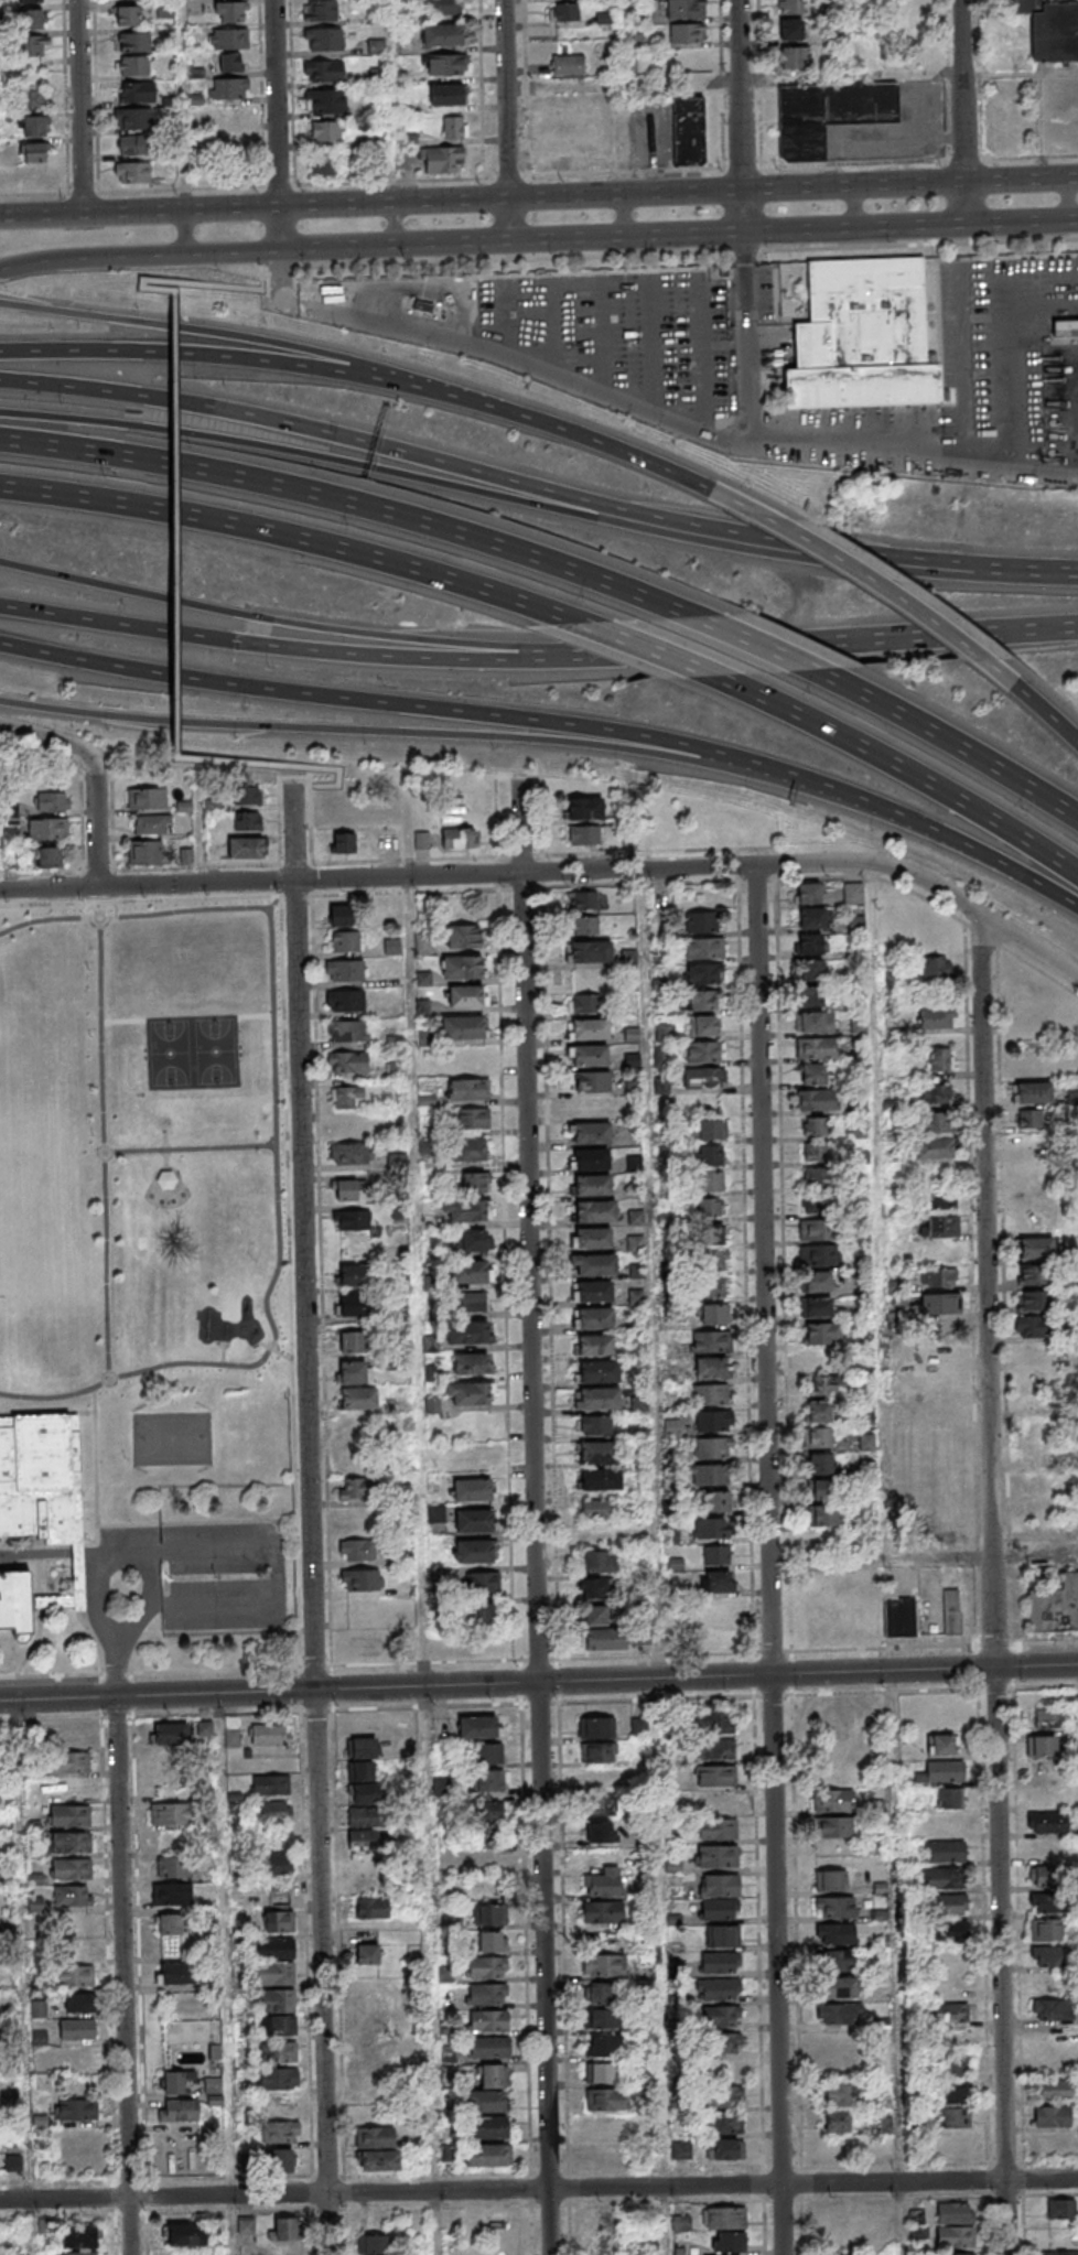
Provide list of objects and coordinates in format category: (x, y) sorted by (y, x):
building: (29, 1)
building: (444, 7)
building: (790, 7)
building: (683, 9)
building: (164, 10)
building: (320, 10)
building: (229, 11)
building: (563, 12)
building: (127, 15)
building: (32, 19)
building: (791, 30)
building: (1050, 33)
building: (687, 34)
building: (442, 35)
building: (228, 39)
building: (323, 39)
road: (856, 39)
building: (133, 41)
road: (625, 42)
building: (32, 46)
building: (376, 46)
building: (794, 57)
building: (229, 62)
building: (133, 65)
building: (568, 65)
building: (444, 66)
building: (322, 69)
road: (983, 79)
road: (948, 80)
road: (735, 82)
building: (228, 88)
road: (527, 88)
road: (483, 89)
building: (136, 91)
road: (741, 95)
building: (445, 96)
road: (507, 98)
building: (32, 99)
building: (325, 100)
road: (391, 101)
road: (277, 102)
road: (182, 105)
road: (82, 107)
road: (964, 111)
building: (830, 114)
building: (229, 117)
building: (132, 118)
building: (33, 126)
building: (454, 127)
building: (325, 131)
building: (688, 131)
building: (132, 144)
building: (230, 148)
building: (33, 152)
road: (1032, 158)
building: (442, 159)
road: (967, 160)
building: (322, 165)
building: (131, 172)
building: (29, 177)
road: (265, 186)
road: (794, 188)
road: (1069, 198)
road: (297, 206)
road: (856, 206)
road: (745, 211)
road: (42, 215)
road: (625, 215)
road: (509, 219)
road: (396, 223)
road: (912, 224)
road: (281, 227)
road: (185, 233)
road: (373, 244)
road: (202, 283)
building: (420, 306)
building: (1065, 327)
road: (748, 331)
road: (215, 333)
building: (863, 337)
road: (214, 354)
road: (500, 354)
road: (961, 430)
road: (603, 443)
road: (487, 471)
road: (487, 493)
road: (352, 500)
road: (174, 524)
road: (298, 536)
road: (1026, 572)
road: (926, 615)
road: (284, 619)
road: (826, 640)
road: (285, 645)
road: (765, 649)
road: (664, 652)
road: (554, 721)
road: (381, 730)
road: (1072, 733)
road: (47, 738)
road: (961, 747)
road: (287, 767)
road: (912, 772)
road: (82, 794)
building: (248, 795)
building: (145, 798)
building: (52, 801)
building: (584, 808)
road: (98, 819)
building: (247, 821)
building: (151, 823)
building: (46, 828)
building: (582, 834)
building: (460, 837)
building: (421, 839)
building: (342, 842)
building: (245, 848)
building: (143, 852)
building: (48, 856)
building: (12, 859)
road: (554, 871)
road: (42, 874)
road: (739, 882)
building: (808, 893)
building: (853, 894)
road: (141, 899)
building: (584, 900)
road: (273, 902)
building: (339, 915)
building: (812, 917)
road: (40, 921)
building: (701, 921)
building: (584, 925)
building: (856, 925)
building: (462, 937)
building: (343, 941)
building: (423, 942)
building: (810, 943)
building: (391, 947)
building: (705, 950)
building: (589, 952)
building: (937, 967)
building: (463, 968)
building: (345, 970)
building: (811, 970)
building: (705, 975)
building: (466, 996)
building: (810, 996)
building: (345, 1001)
building: (704, 1001)
building: (585, 1004)
building: (937, 1016)
road: (186, 1017)
building: (813, 1021)
building: (702, 1027)
building: (464, 1029)
building: (346, 1031)
building: (591, 1032)
building: (630, 1036)
building: (816, 1047)
park: (191, 1050)
building: (702, 1053)
building: (591, 1057)
building: (940, 1059)
building: (632, 1060)
building: (346, 1061)
building: (1033, 1066)
building: (812, 1073)
building: (704, 1079)
building: (593, 1083)
building: (661, 1087)
building: (470, 1091)
building: (1032, 1092)
building: (937, 1093)
building: (345, 1096)
building: (816, 1100)
building: (594, 1110)
building: (472, 1118)
building: (1030, 1119)
building: (934, 1122)
building: (815, 1126)
building: (352, 1129)
building: (710, 1129)
building: (592, 1135)
road: (163, 1141)
building: (1030, 1144)
road: (103, 1147)
road: (188, 1147)
building: (934, 1150)
building: (816, 1151)
building: (464, 1152)
park: (141, 1153)
building: (348, 1153)
building: (710, 1155)
park: (36, 1162)
building: (592, 1162)
road: (175, 1170)
building: (815, 1177)
building: (165, 1178)
building: (711, 1180)
building: (475, 1182)
building: (343, 1188)
building: (594, 1188)
road: (278, 1196)
building: (941, 1199)
building: (816, 1202)
building: (707, 1207)
building: (466, 1209)
road: (877, 1211)
building: (596, 1215)
building: (351, 1219)
building: (940, 1226)
building: (816, 1229)
building: (710, 1233)
road: (303, 1238)
building: (472, 1240)
building: (593, 1241)
building: (635, 1244)
building: (1036, 1248)
building: (819, 1255)
building: (715, 1261)
building: (597, 1269)
building: (471, 1271)
building: (636, 1271)
road: (651, 1273)
building: (353, 1275)
building: (1033, 1275)
building: (938, 1277)
road: (419, 1281)
building: (817, 1282)
road: (289, 1285)
building: (712, 1287)
building: (595, 1295)
building: (635, 1297)
building: (1034, 1301)
building: (470, 1302)
building: (947, 1303)
building: (353, 1305)
building: (817, 1308)
building: (712, 1314)
building: (596, 1321)
building: (1034, 1327)
building: (467, 1332)
building: (821, 1335)
building: (352, 1341)
building: (711, 1342)
building: (595, 1348)
road: (274, 1349)
road: (222, 1352)
building: (817, 1361)
building: (472, 1363)
building: (711, 1369)
building: (354, 1371)
building: (600, 1375)
building: (826, 1387)
building: (470, 1393)
building: (710, 1395)
building: (358, 1399)
building: (601, 1402)
building: (818, 1413)
road: (46, 1414)
building: (865, 1417)
building: (714, 1422)
building: (594, 1425)
building: (1035, 1433)
park: (170, 1437)
building: (817, 1438)
building: (866, 1443)
building: (713, 1449)
building: (600, 1456)
building: (819, 1465)
building: (711, 1476)
building: (1041, 1481)
building: (601, 1482)
building: (357, 1488)
building: (474, 1489)
building: (821, 1490)
road: (87, 1502)
building: (716, 1502)
building: (37, 1508)
building: (597, 1512)
road: (96, 1514)
building: (436, 1514)
building: (822, 1515)
road: (537, 1517)
building: (472, 1520)
road: (195, 1521)
building: (712, 1529)
building: (357, 1550)
building: (474, 1551)
road: (57, 1552)
road: (129, 1552)
building: (718, 1555)
road: (772, 1560)
road: (881, 1561)
building: (596, 1562)
road: (272, 1566)
building: (362, 1579)
building: (716, 1580)
building: (482, 1582)
road: (991, 1585)
building: (593, 1588)
building: (1055, 1606)
building: (716, 1607)
road: (37, 1610)
road: (84, 1610)
building: (952, 1611)
building: (482, 1614)
building: (595, 1616)
building: (899, 1617)
road: (214, 1630)
building: (603, 1639)
road: (935, 1648)
road: (377, 1665)
road: (115, 1670)
road: (538, 1683)
building: (1049, 1717)
building: (712, 1718)
building: (478, 1726)
building: (638, 1726)
building: (594, 1727)
building: (170, 1734)
building: (67, 1737)
building: (268, 1737)
building: (944, 1745)
building: (1041, 1746)
building: (360, 1747)
building: (715, 1748)
building: (603, 1752)
building: (485, 1754)
building: (165, 1759)
building: (72, 1761)
building: (360, 1770)
building: (945, 1771)
building: (714, 1776)
building: (486, 1780)
building: (269, 1784)
building: (368, 1793)
building: (948, 1797)
building: (715, 1802)
building: (833, 1802)
building: (602, 1804)
building: (270, 1812)
building: (170, 1814)
building: (69, 1815)
building: (367, 1816)
building: (1047, 1822)
building: (486, 1823)
building: (834, 1828)
building: (718, 1830)
building: (601, 1831)
building: (367, 1839)
building: (67, 1842)
building: (945, 1851)
building: (718, 1857)
building: (363, 1864)
building: (274, 1865)
building: (174, 1866)
building: (69, 1868)
building: (1047, 1875)
building: (942, 1878)
building: (830, 1881)
building: (603, 1882)
building: (719, 1886)
building: (171, 1893)
building: (72, 1895)
building: (1048, 1902)
building: (947, 1903)
building: (834, 1907)
building: (370, 1908)
building: (279, 1909)
building: (719, 1909)
building: (602, 1911)
building: (488, 1914)
building: (168, 1924)
building: (1046, 1930)
building: (949, 1931)
building: (836, 1933)
building: (722, 1935)
road: (429, 1939)
building: (493, 1941)
building: (271, 1949)
building: (366, 1955)
building: (1049, 1956)
building: (837, 1960)
building: (721, 1962)
road: (898, 1963)
building: (603, 1965)
building: (486, 1966)
road: (661, 1966)
road: (320, 1972)
building: (175, 1974)
road: (227, 1974)
building: (274, 1974)
building: (445, 1975)
road: (121, 1976)
road: (23, 1977)
building: (75, 1977)
building: (838, 1987)
building: (718, 1988)
building: (601, 1993)
building: (486, 1994)
building: (76, 2003)
building: (276, 2003)
building: (1052, 2009)
building: (951, 2013)
building: (373, 2014)
building: (839, 2014)
building: (721, 2015)
building: (600, 2018)
building: (488, 2020)
building: (277, 2028)
building: (77, 2029)
building: (723, 2042)
building: (602, 2044)
building: (489, 2048)
building: (277, 2054)
building: (76, 2056)
building: (951, 2067)
building: (374, 2069)
building: (601, 2072)
building: (492, 2076)
building: (277, 2080)
building: (175, 2081)
building: (213, 2085)
building: (1055, 2090)
building: (838, 2093)
building: (951, 2093)
building: (722, 2096)
building: (215, 2100)
building: (604, 2100)
building: (486, 2102)
building: (76, 2111)
building: (1053, 2116)
building: (953, 2118)
building: (837, 2121)
building: (722, 2123)
building: (606, 2126)
building: (489, 2127)
building: (284, 2132)
building: (377, 2149)
building: (724, 2149)
building: (681, 2150)
building: (486, 2155)
building: (279, 2160)
building: (13, 2162)
road: (538, 2189)
building: (1061, 2208)
building: (955, 2213)
building: (724, 2219)
road: (435, 2223)
building: (680, 2223)
building: (245, 2225)
building: (283, 2229)
building: (185, 2234)
building: (78, 2237)
building: (955, 2237)
building: (729, 2242)
building: (371, 2245)
building: (78, 2253)
building: (1059, 2253)
building: (955, 2254)

